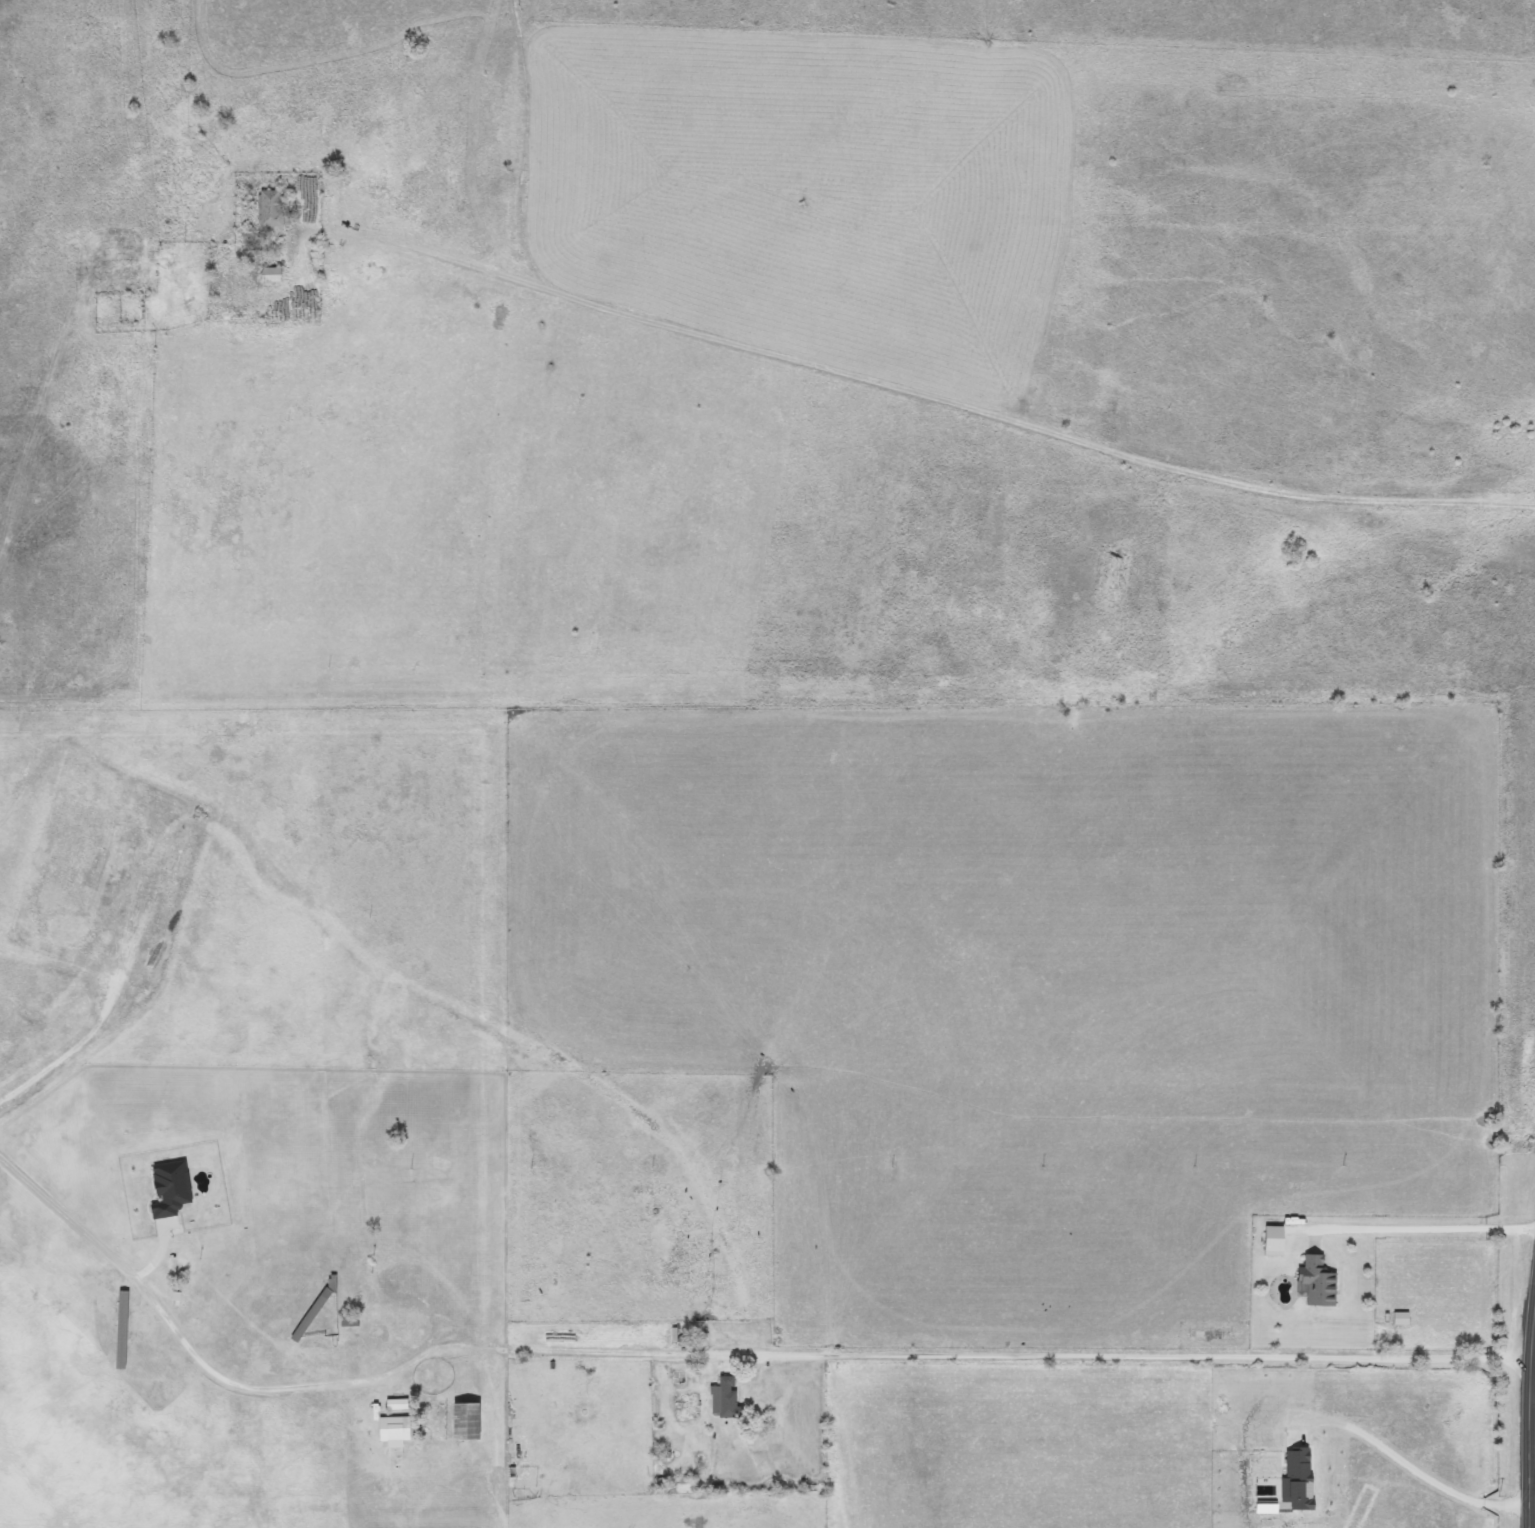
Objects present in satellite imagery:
building: (271, 209)
building: (273, 275)
road: (927, 400)
road: (58, 1208)
road: (1415, 1224)
building: (1276, 1241)
building: (1319, 1282)
building: (316, 1309)
building: (1402, 1318)
building: (350, 1321)
building: (122, 1329)
road: (792, 1350)
building: (725, 1398)
building: (397, 1404)
road: (1528, 1404)
building: (456, 1421)
road: (1531, 1466)
road: (1407, 1471)

